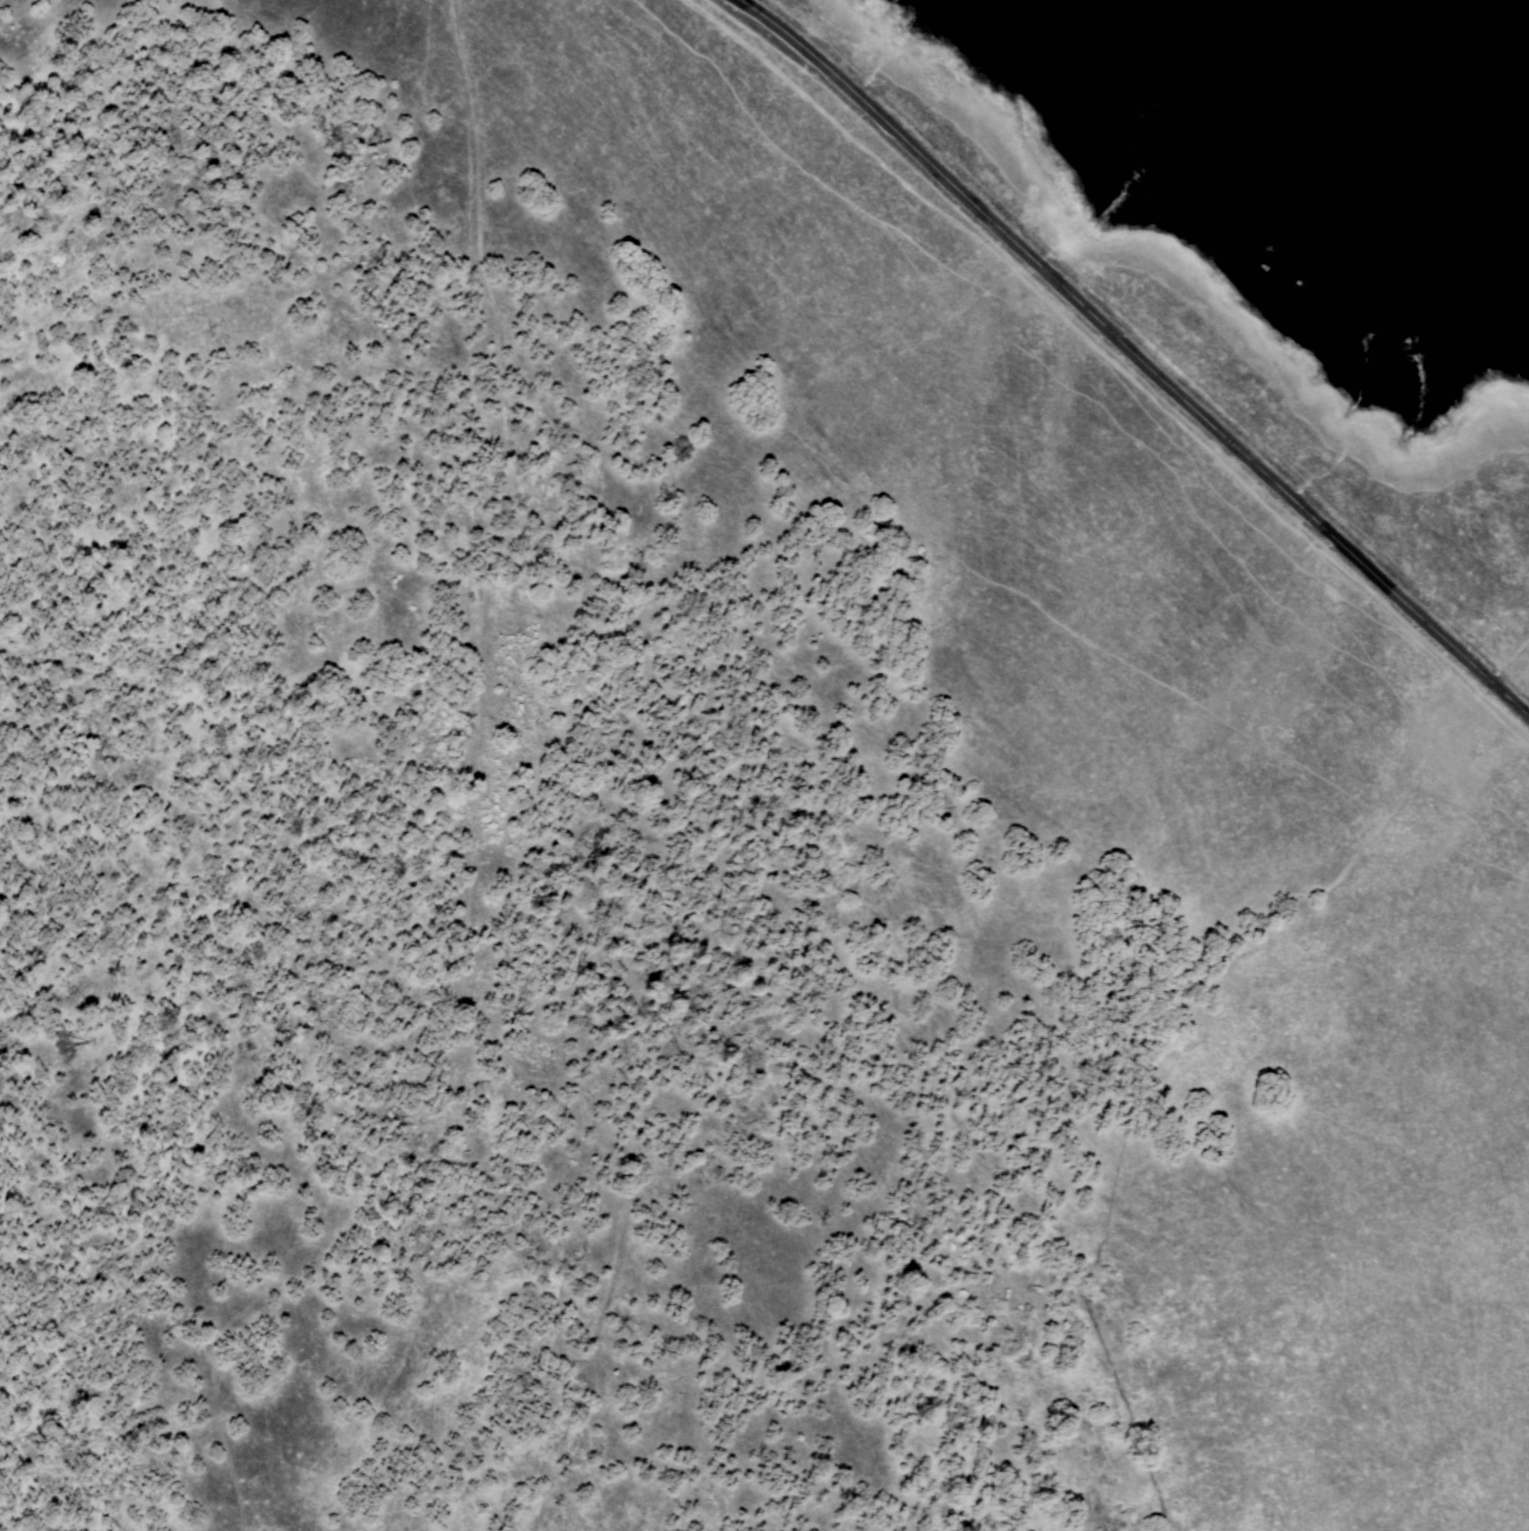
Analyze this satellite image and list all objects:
road: (1137, 354)

